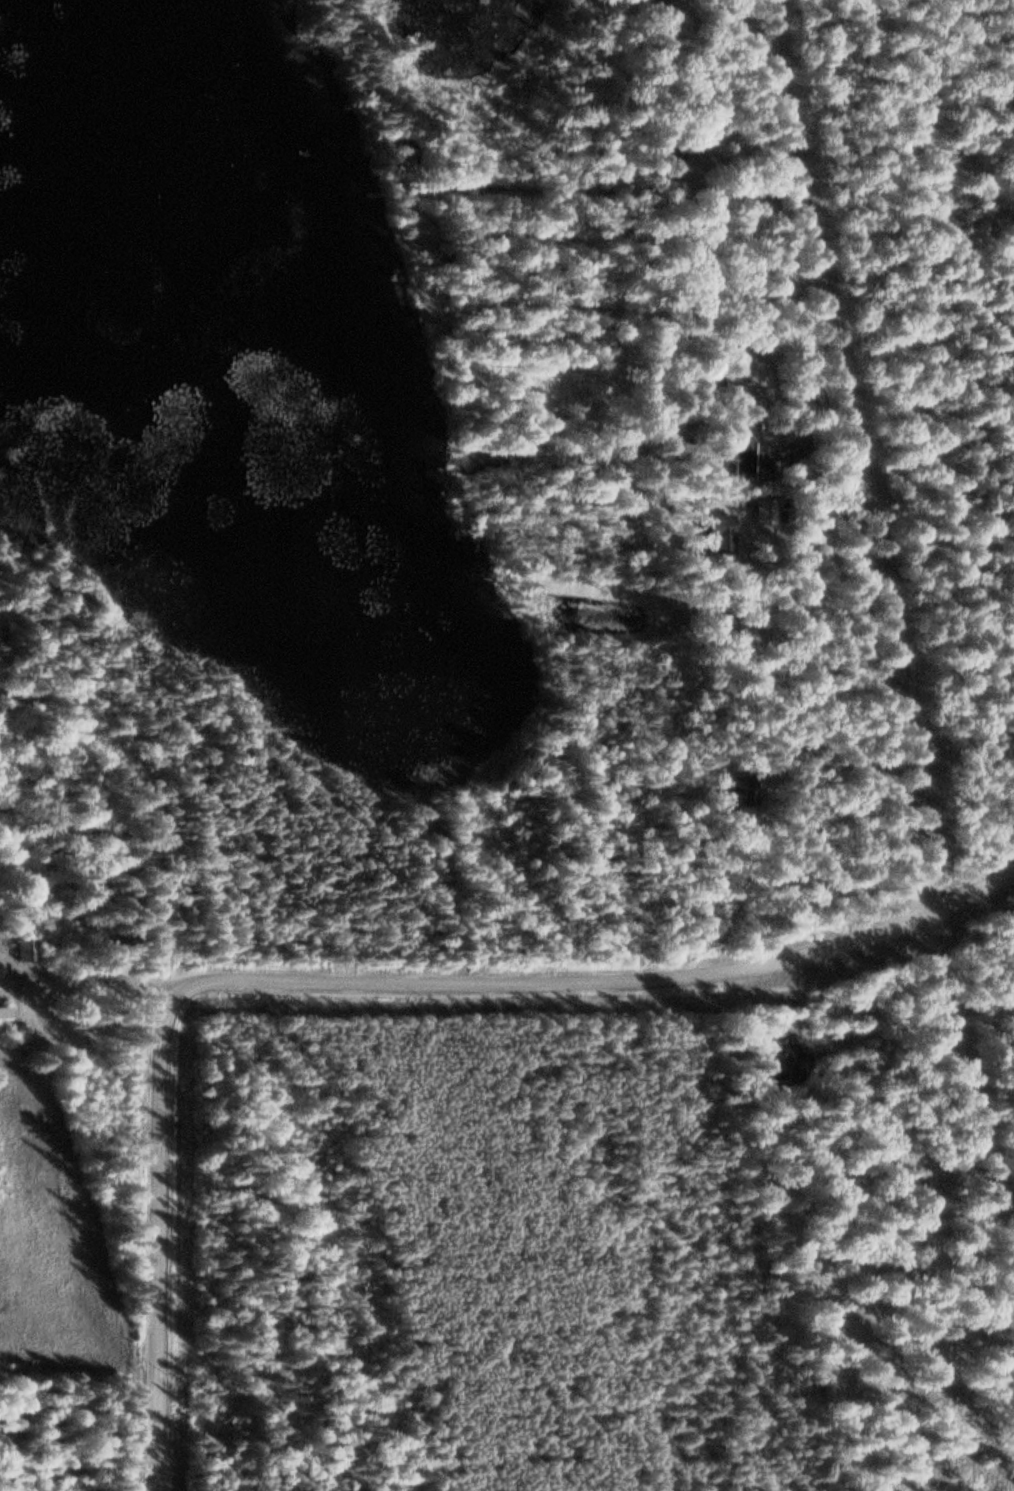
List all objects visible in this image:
building: (658, 5)
building: (739, 380)
building: (747, 454)
road: (878, 602)
building: (30, 950)
road: (605, 980)
building: (7, 1014)
road: (165, 1239)

